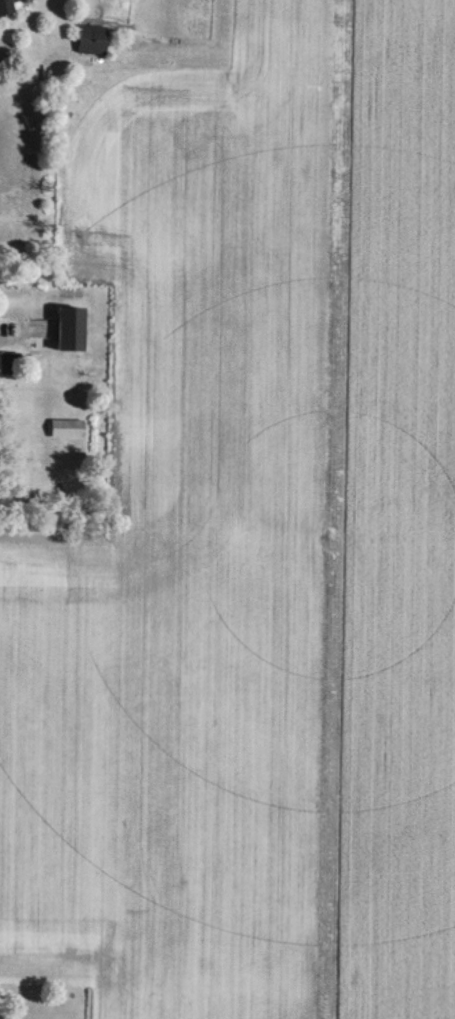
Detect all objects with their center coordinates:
building: (11, 5)
building: (91, 37)
building: (67, 325)
building: (9, 362)
building: (66, 426)

